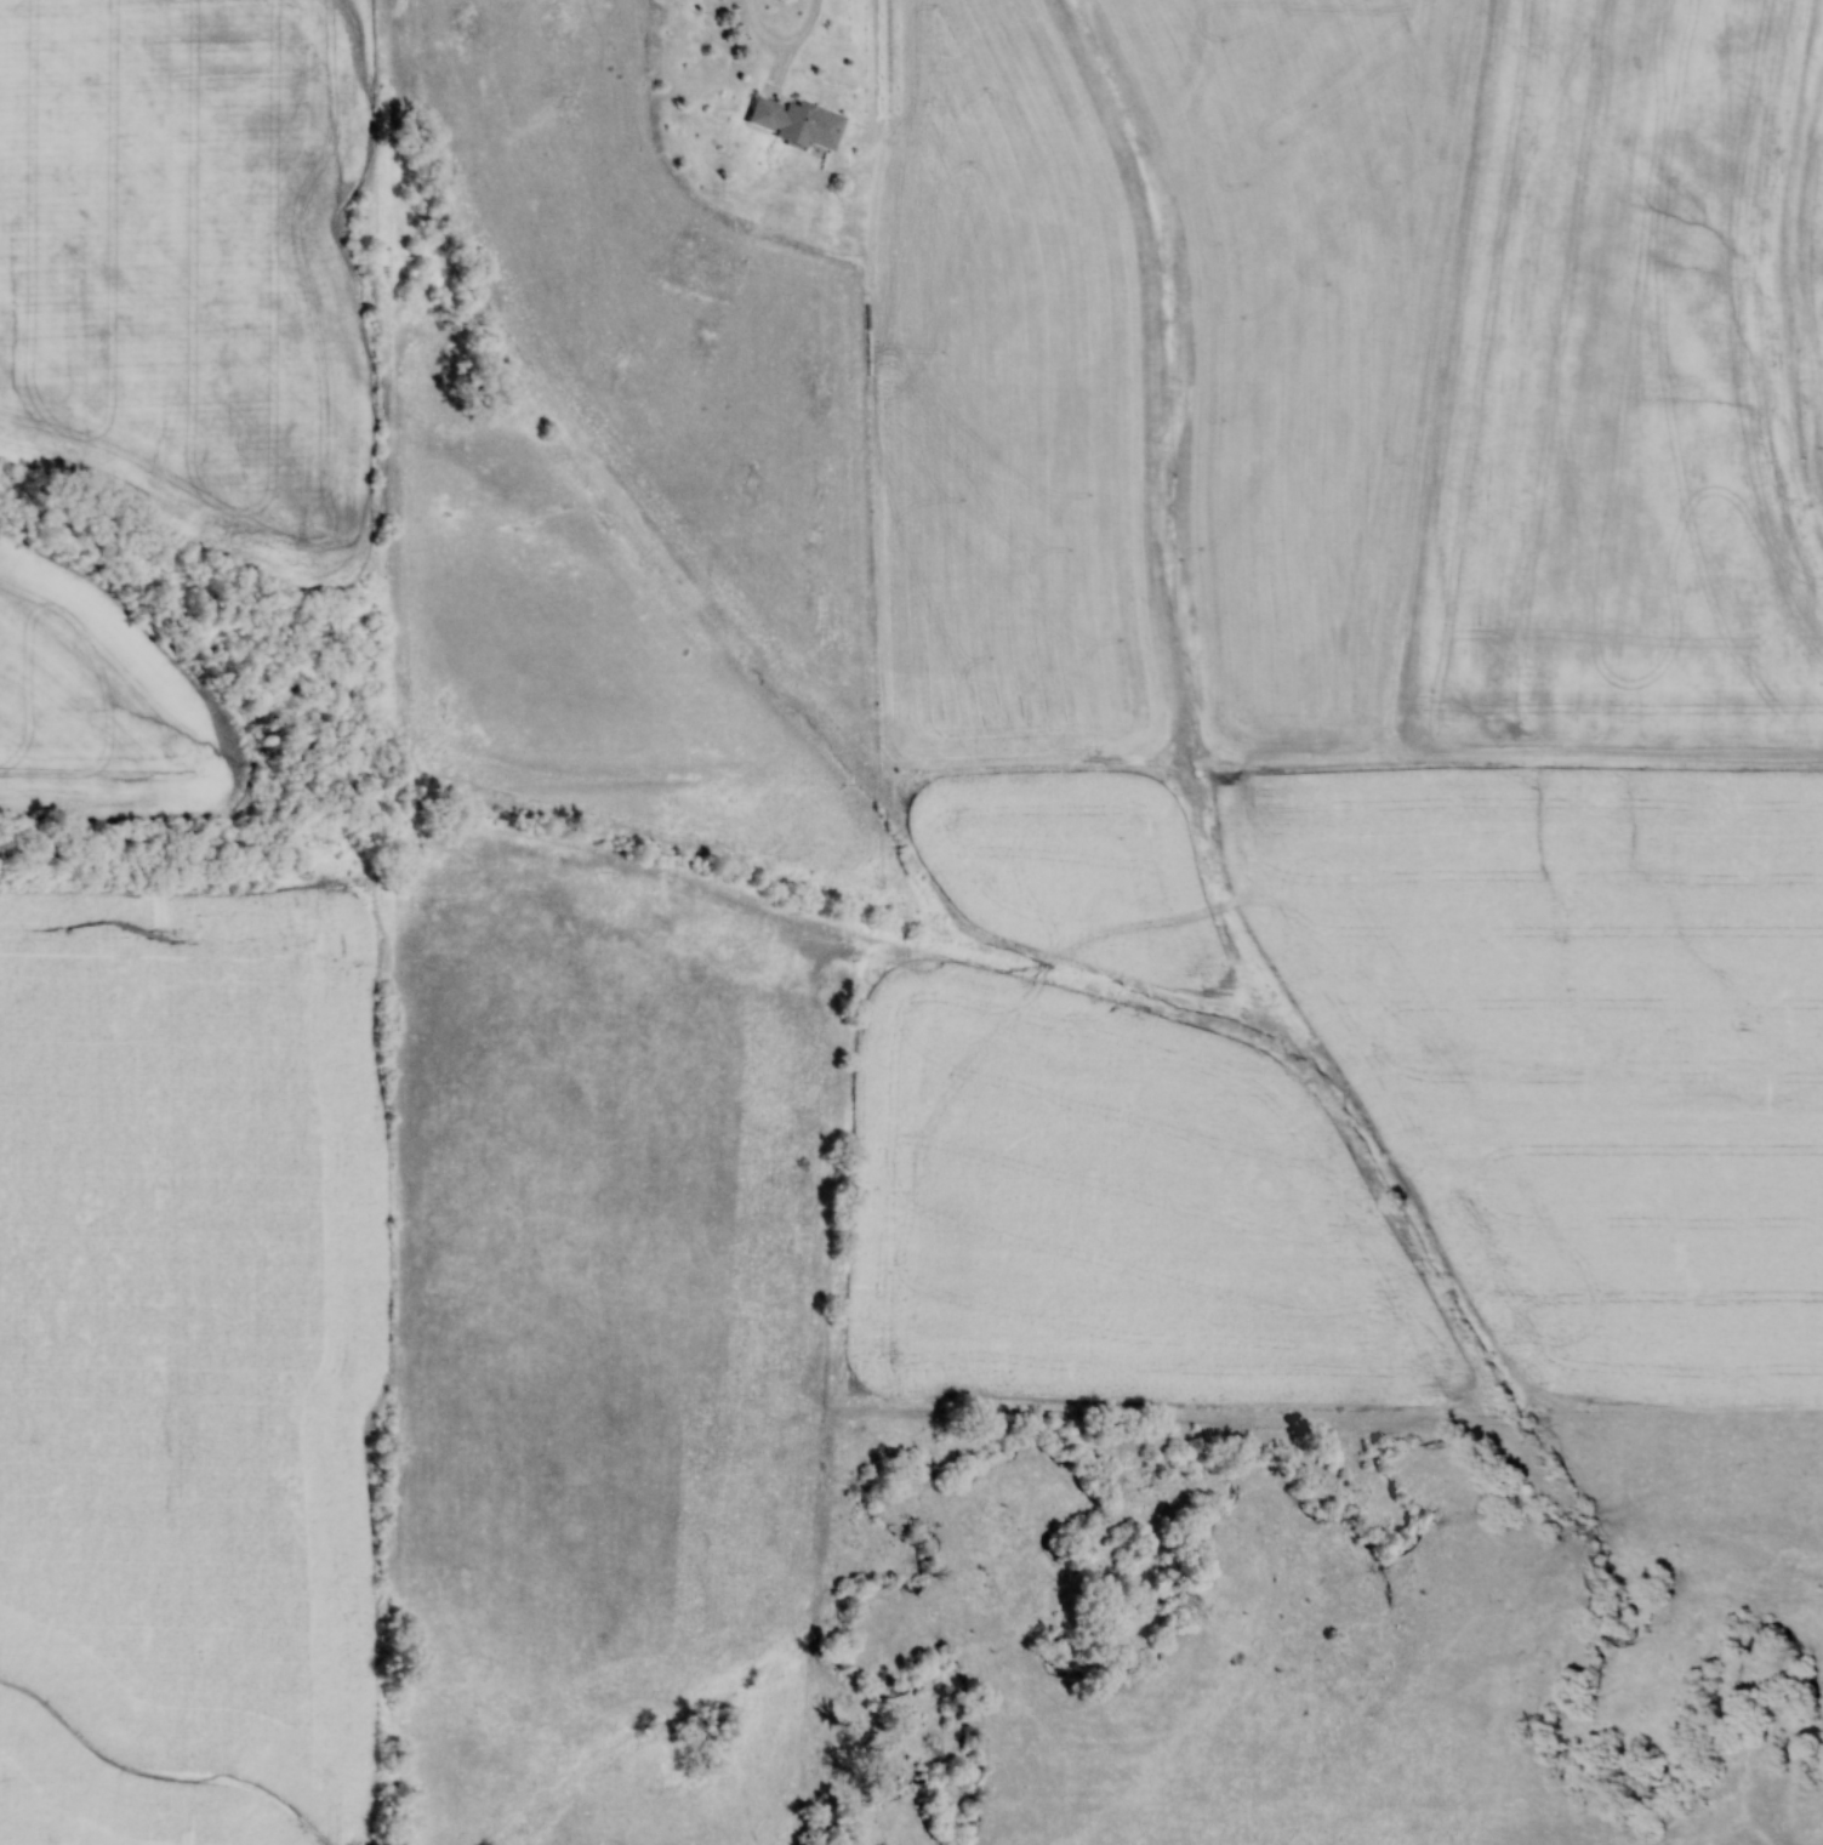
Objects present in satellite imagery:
road: (781, 44)
building: (787, 123)

